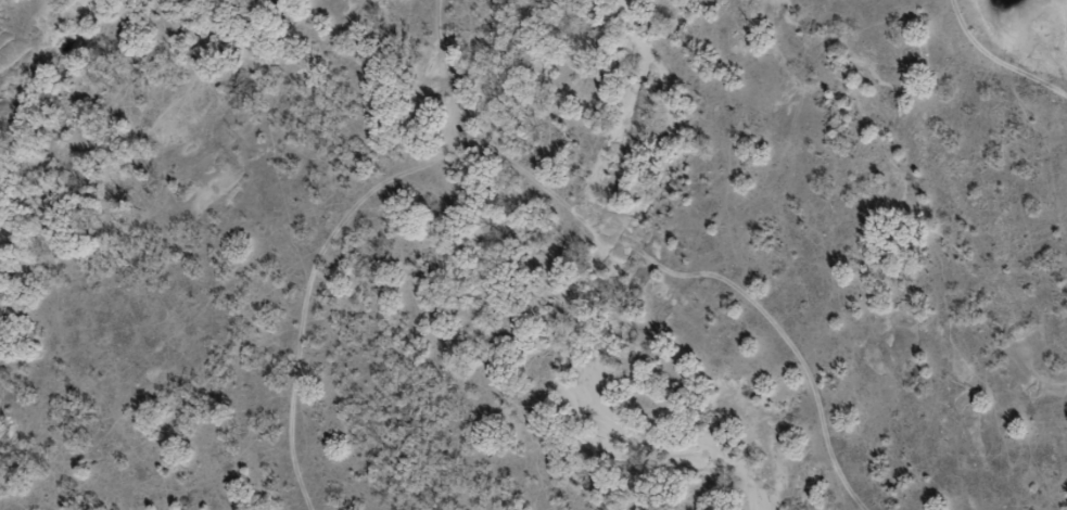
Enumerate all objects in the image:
road: (530, 234)

